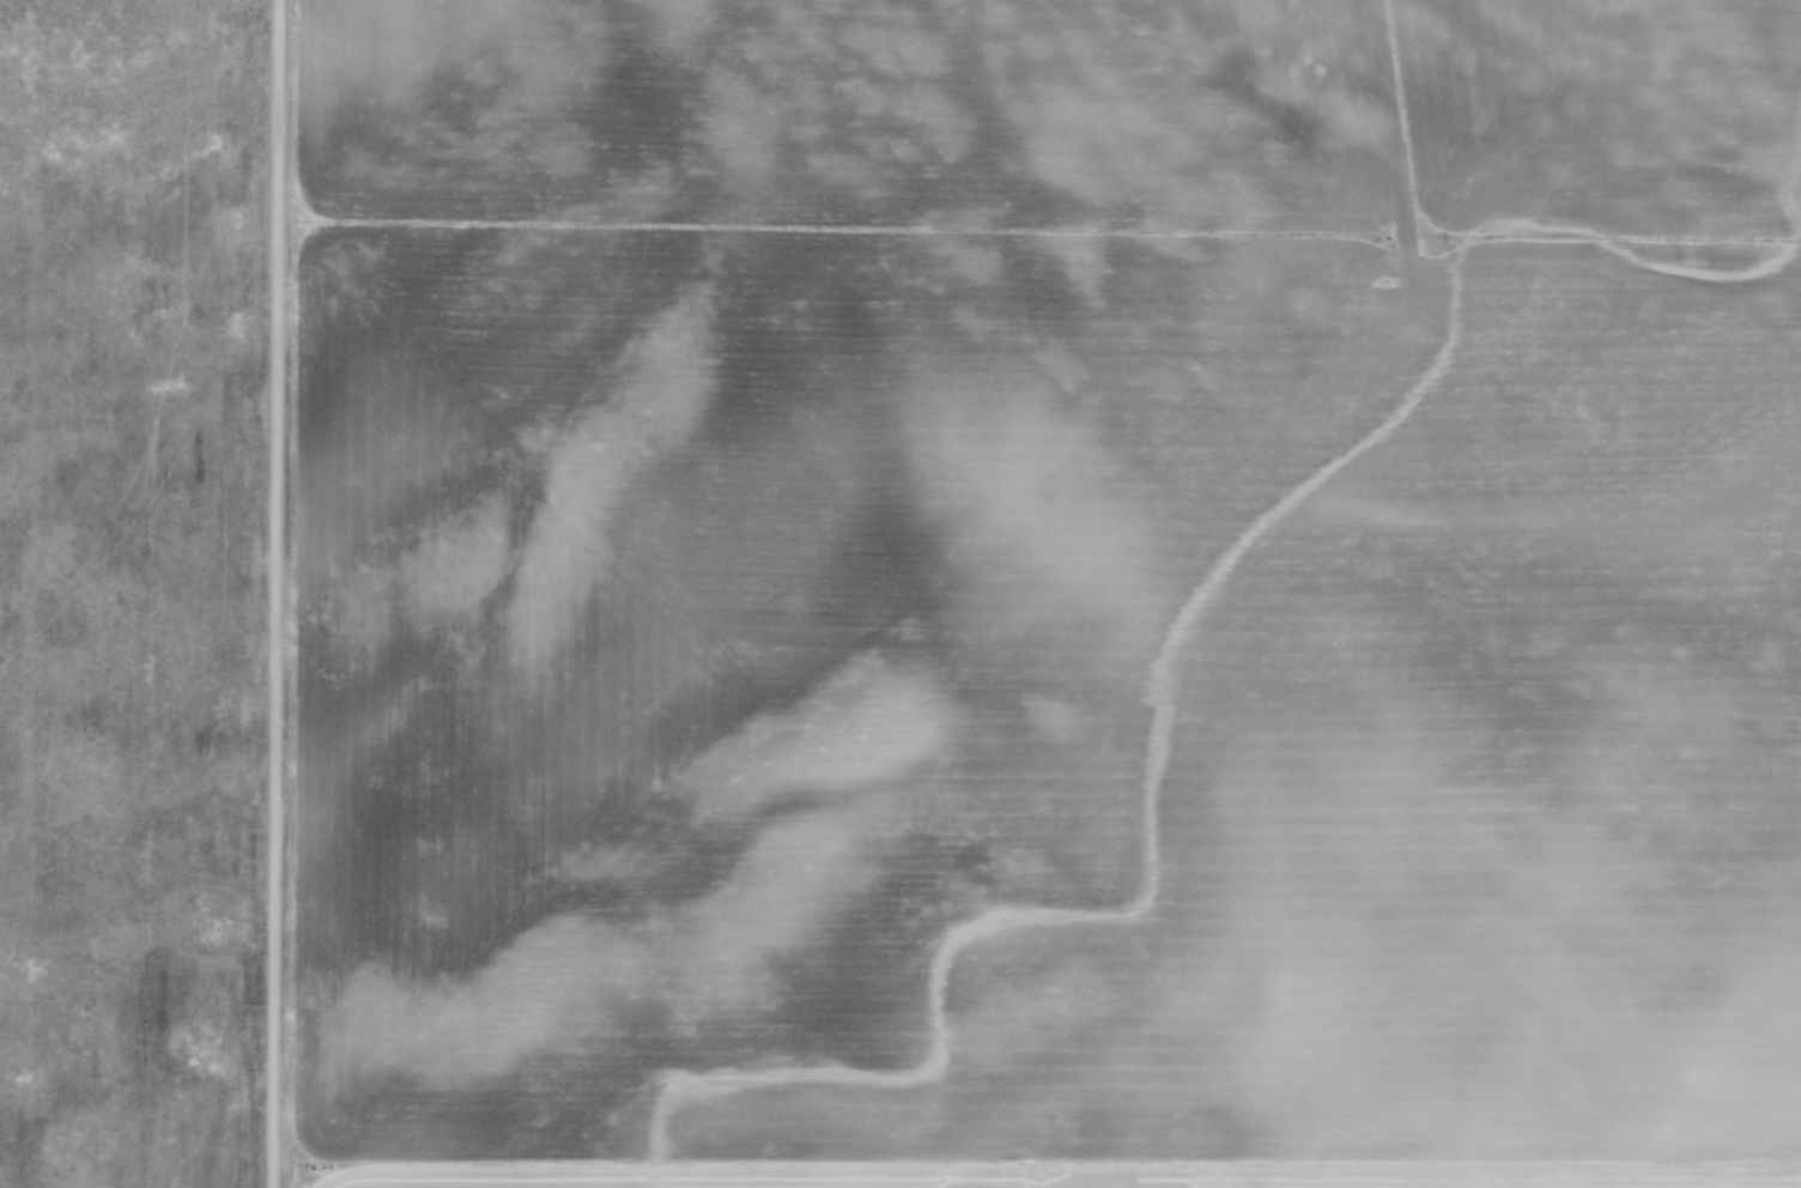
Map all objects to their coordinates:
road: (1391, 166)
road: (272, 593)

